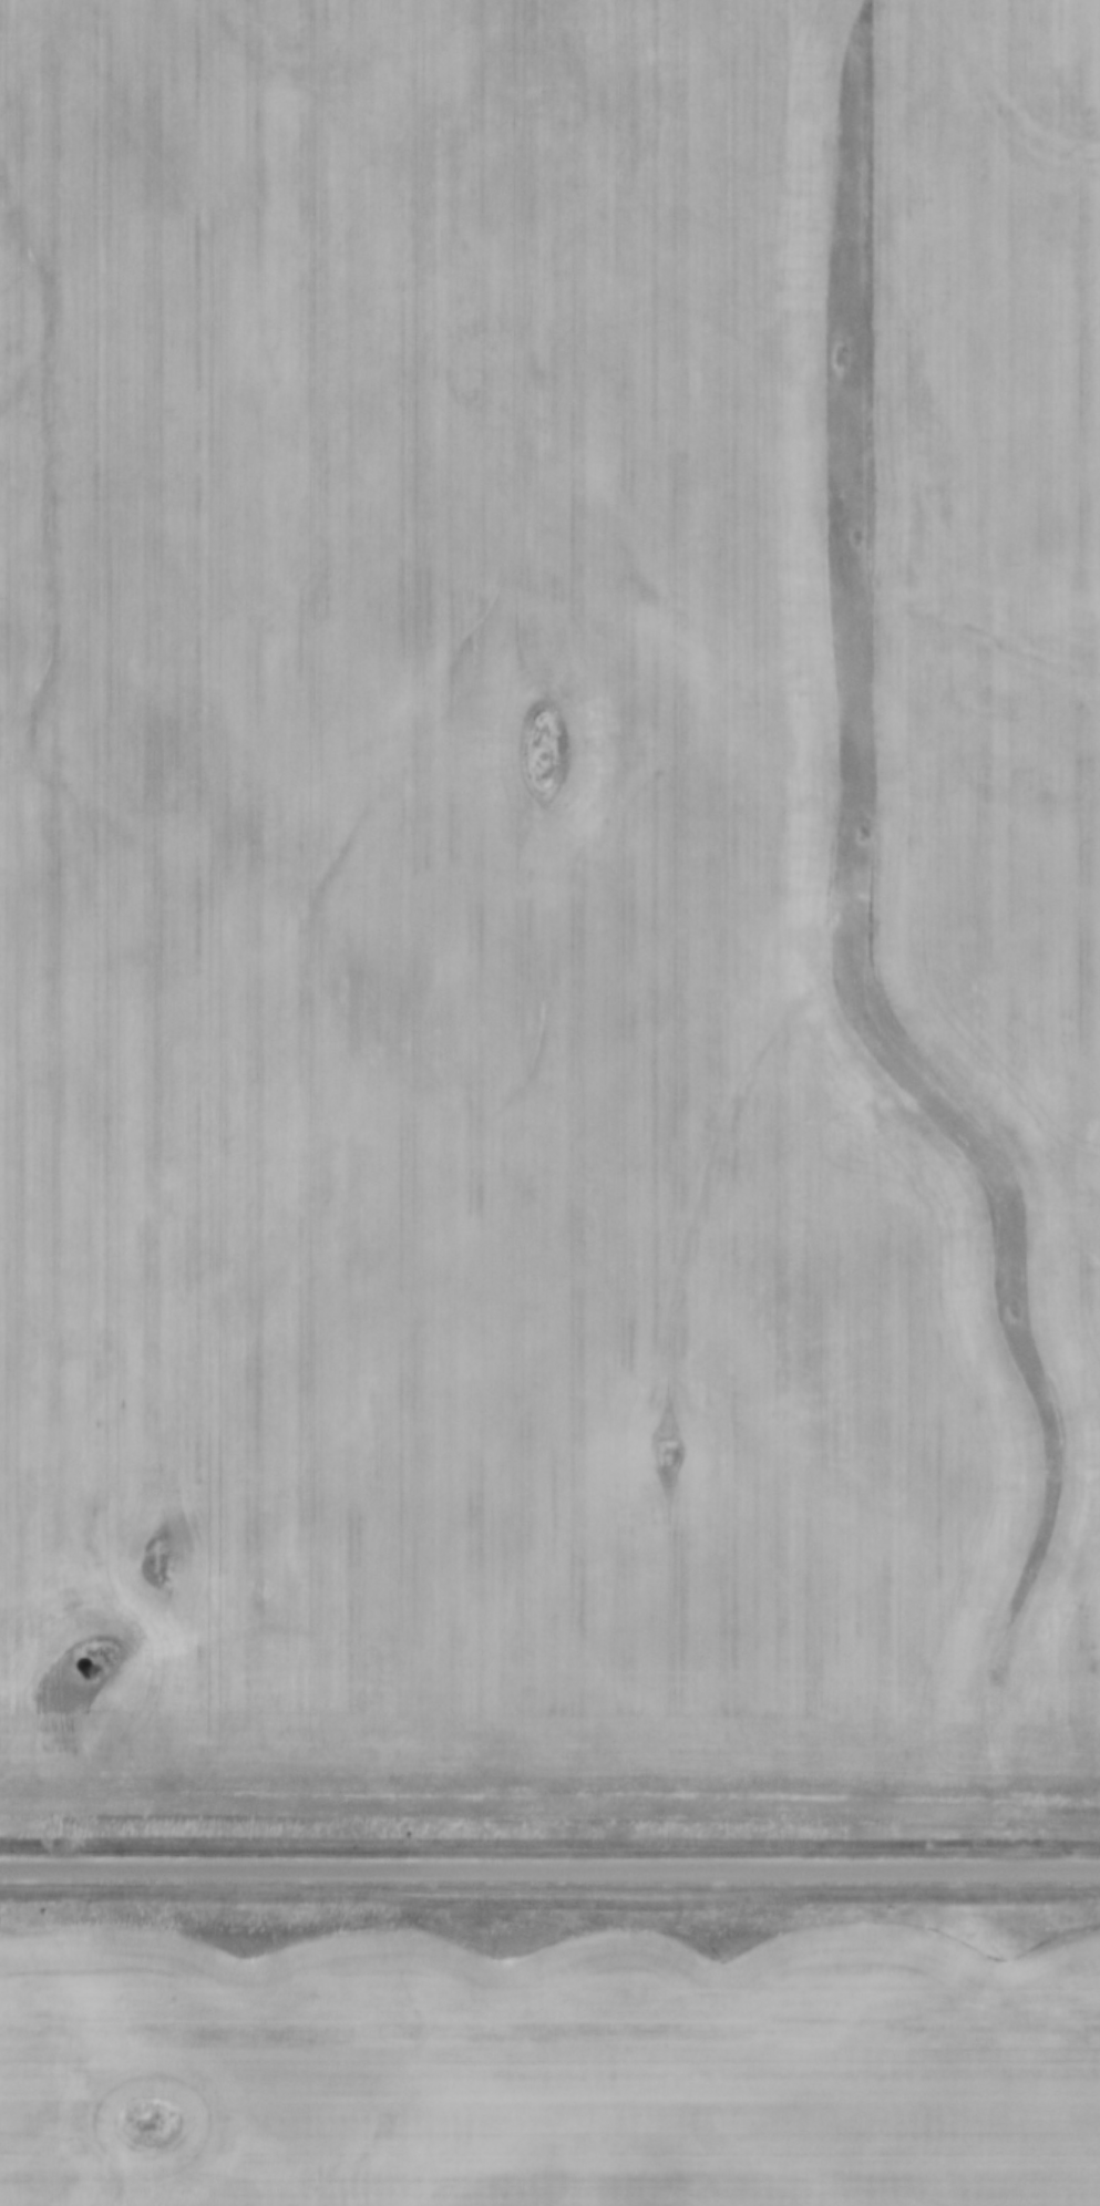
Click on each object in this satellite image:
building: (80, 1671)
road: (63, 1766)
road: (549, 1867)

